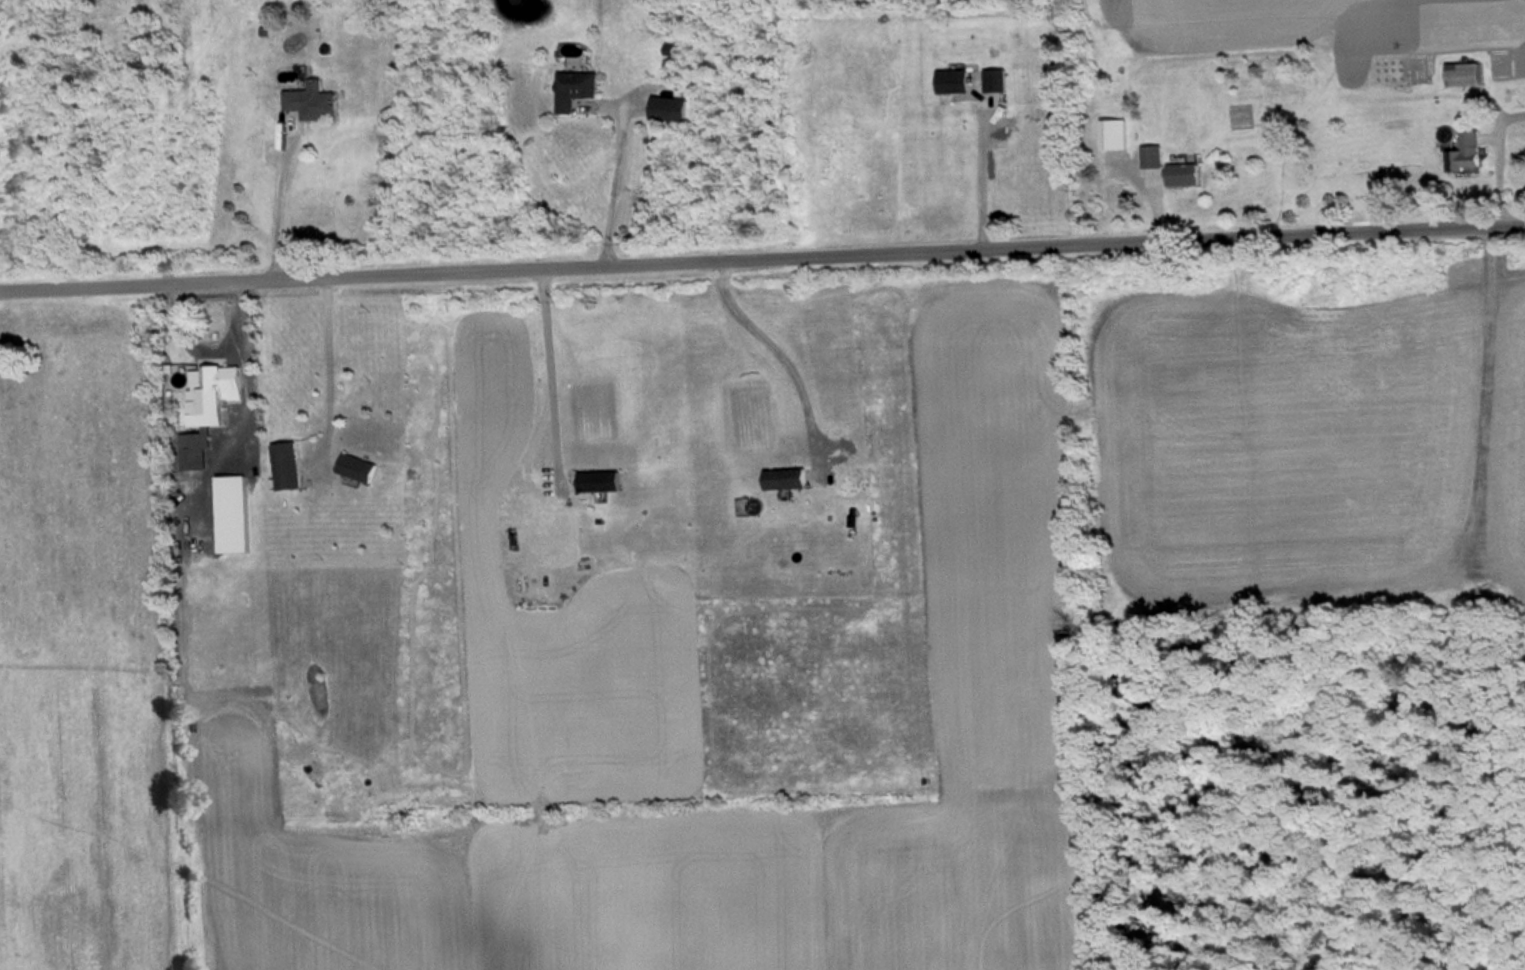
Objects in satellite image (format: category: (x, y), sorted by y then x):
building: (580, 62)
building: (1468, 74)
building: (1000, 79)
building: (957, 80)
building: (581, 88)
building: (316, 101)
building: (673, 109)
building: (1120, 134)
building: (1472, 152)
building: (1156, 157)
building: (1188, 175)
road: (271, 200)
road: (762, 256)
building: (216, 380)
building: (291, 466)
building: (363, 467)
building: (791, 479)
building: (606, 481)

